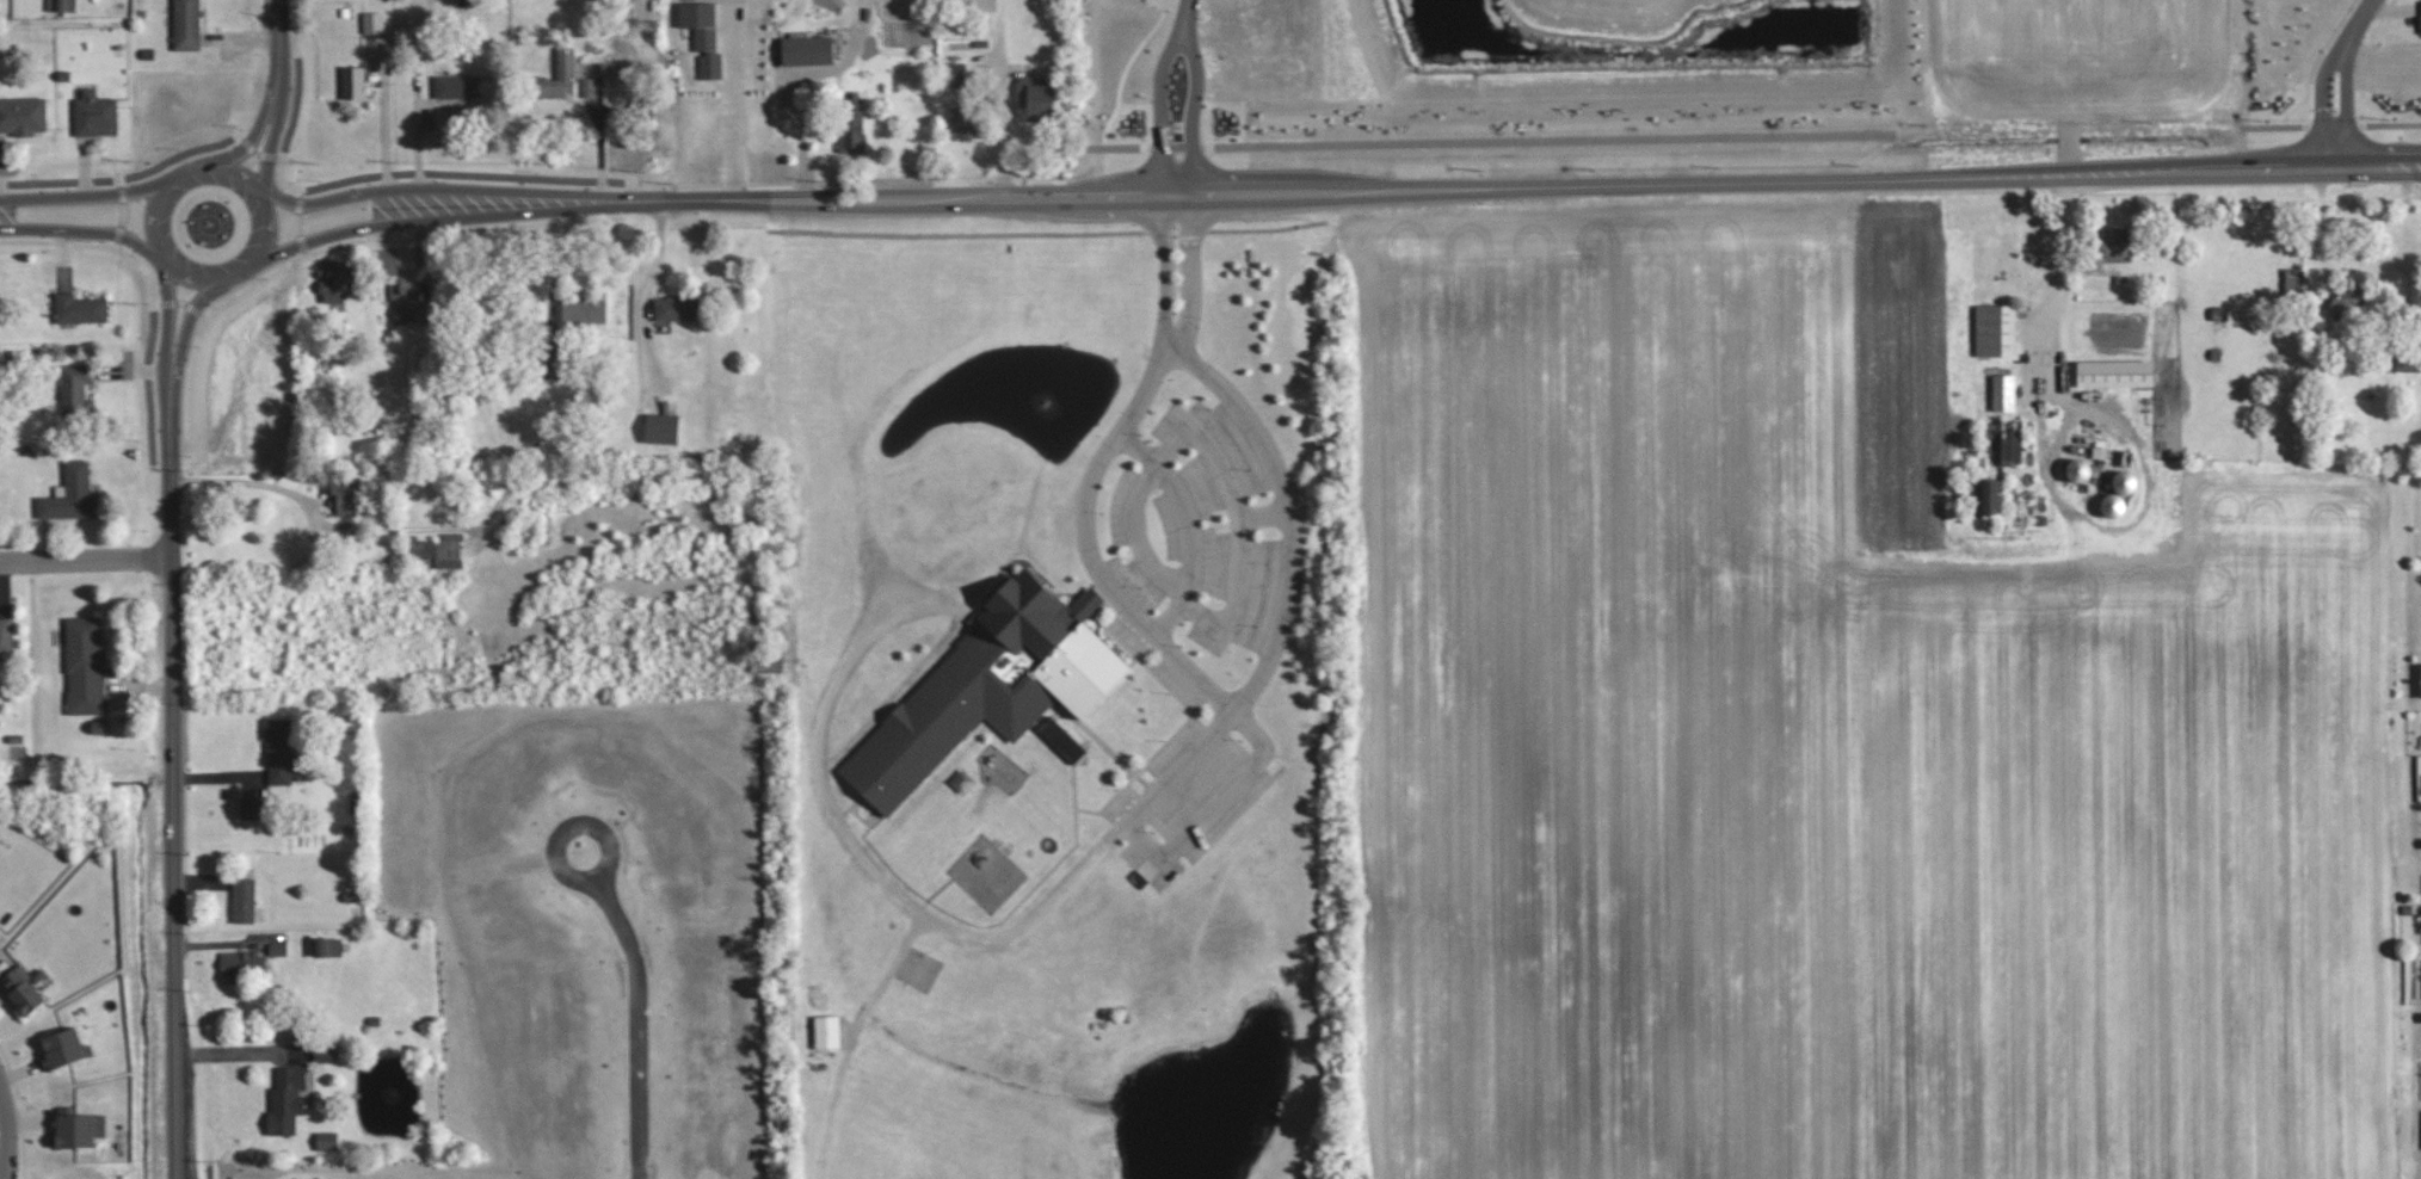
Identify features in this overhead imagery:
building: (968, 4)
building: (61, 5)
building: (690, 8)
road: (1185, 20)
road: (2358, 20)
building: (374, 21)
building: (187, 25)
road: (278, 25)
road: (1179, 42)
road: (2343, 43)
building: (807, 50)
building: (710, 66)
building: (955, 74)
building: (559, 75)
road: (787, 76)
building: (353, 82)
building: (589, 87)
building: (456, 88)
building: (1037, 95)
road: (732, 98)
building: (94, 112)
building: (23, 115)
building: (965, 118)
road: (260, 119)
road: (277, 119)
building: (850, 123)
road: (1176, 146)
road: (1653, 184)
road: (461, 187)
road: (833, 195)
road: (85, 197)
road: (725, 198)
road: (460, 217)
road: (90, 230)
road: (154, 240)
building: (2114, 248)
road: (1162, 270)
road: (1189, 274)
building: (2294, 280)
building: (334, 282)
building: (2341, 296)
building: (2417, 298)
building: (80, 308)
building: (677, 308)
building: (583, 309)
building: (411, 313)
building: (1995, 329)
road: (180, 351)
road: (165, 352)
building: (2409, 359)
building: (555, 369)
building: (2114, 372)
building: (75, 387)
building: (2003, 391)
building: (663, 427)
building: (2003, 446)
building: (2081, 470)
road: (2046, 481)
building: (2124, 482)
road: (267, 484)
building: (72, 494)
building: (344, 494)
building: (1985, 496)
building: (2111, 504)
road: (1287, 516)
building: (436, 551)
road: (85, 561)
building: (6, 635)
building: (85, 665)
building: (2420, 679)
building: (991, 685)
building: (1061, 739)
building: (282, 755)
road: (235, 801)
building: (254, 807)
road: (173, 808)
road: (1113, 835)
building: (244, 900)
building: (327, 946)
building: (244, 964)
building: (23, 989)
road: (641, 1008)
building: (827, 1031)
building: (64, 1048)
building: (325, 1050)
road: (236, 1054)
building: (287, 1099)
building: (73, 1126)
road: (5, 1134)
building: (327, 1140)

